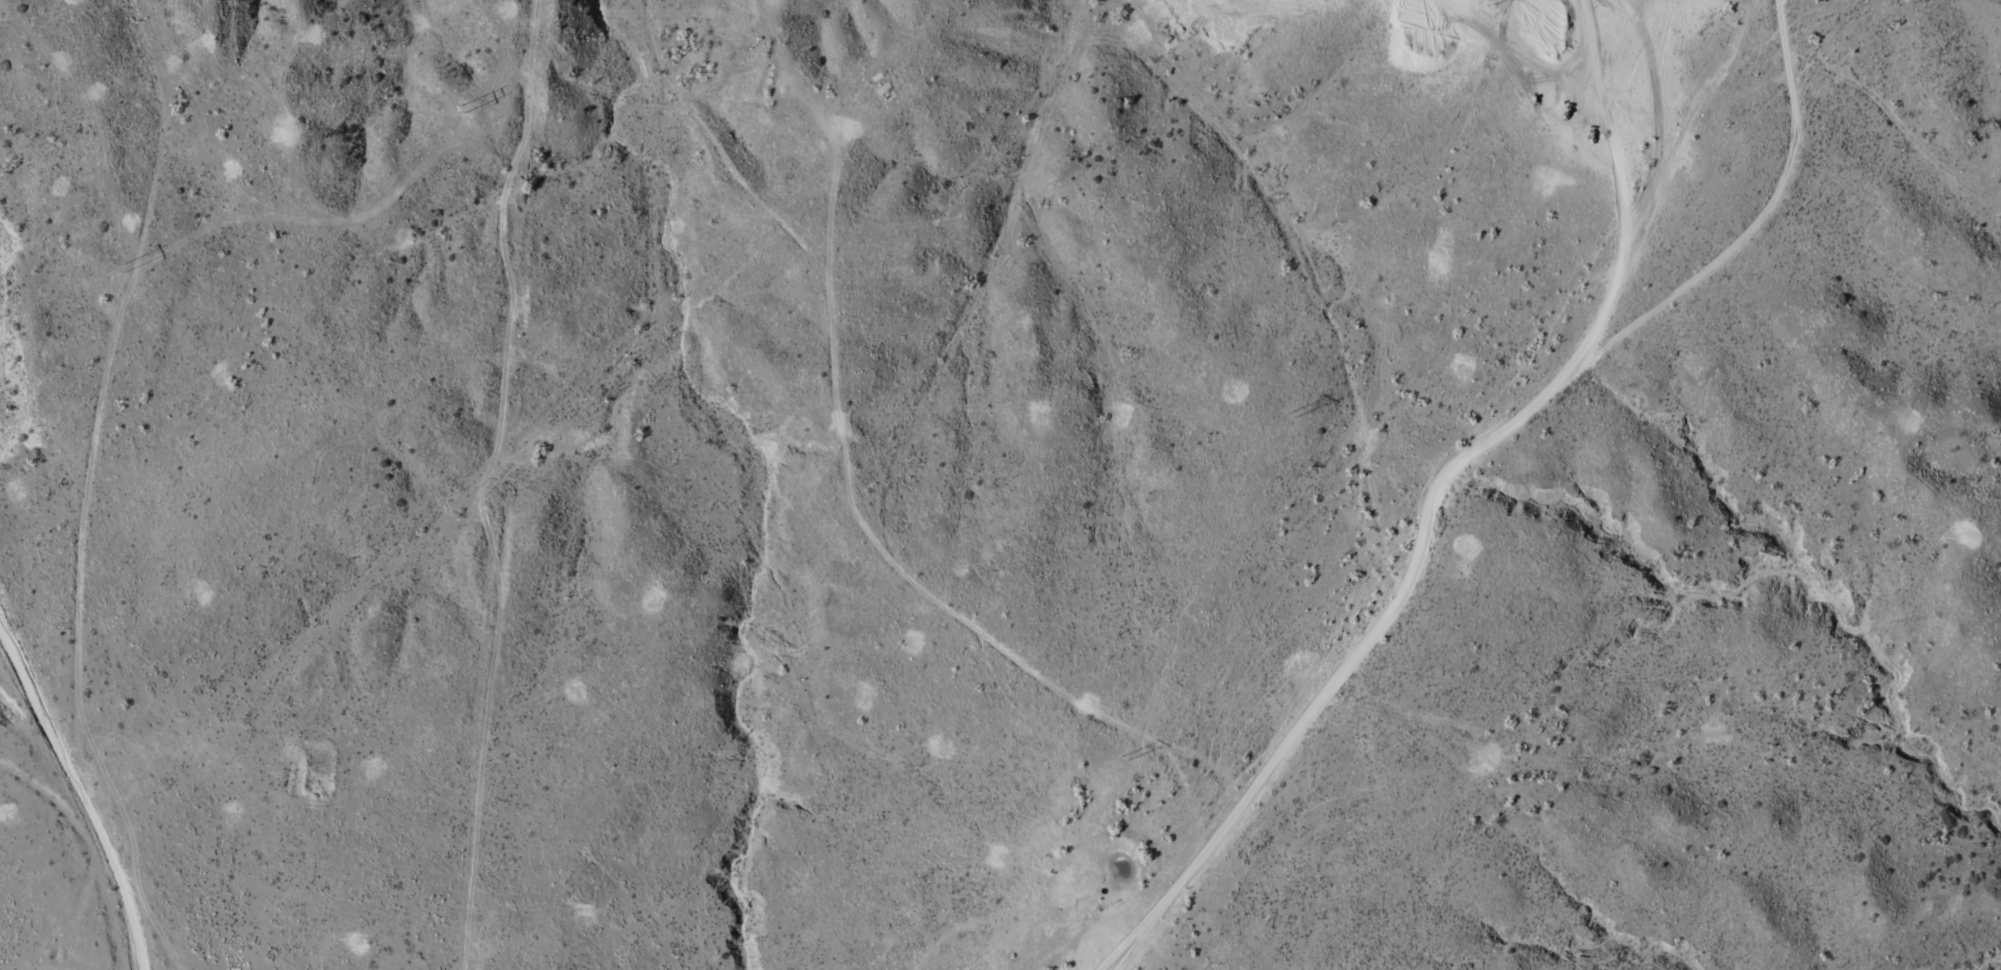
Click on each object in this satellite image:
power tower: (1490, 0)
power tower: (464, 108)
power tower: (124, 267)
power tower: (1290, 414)
power tower: (1124, 758)

